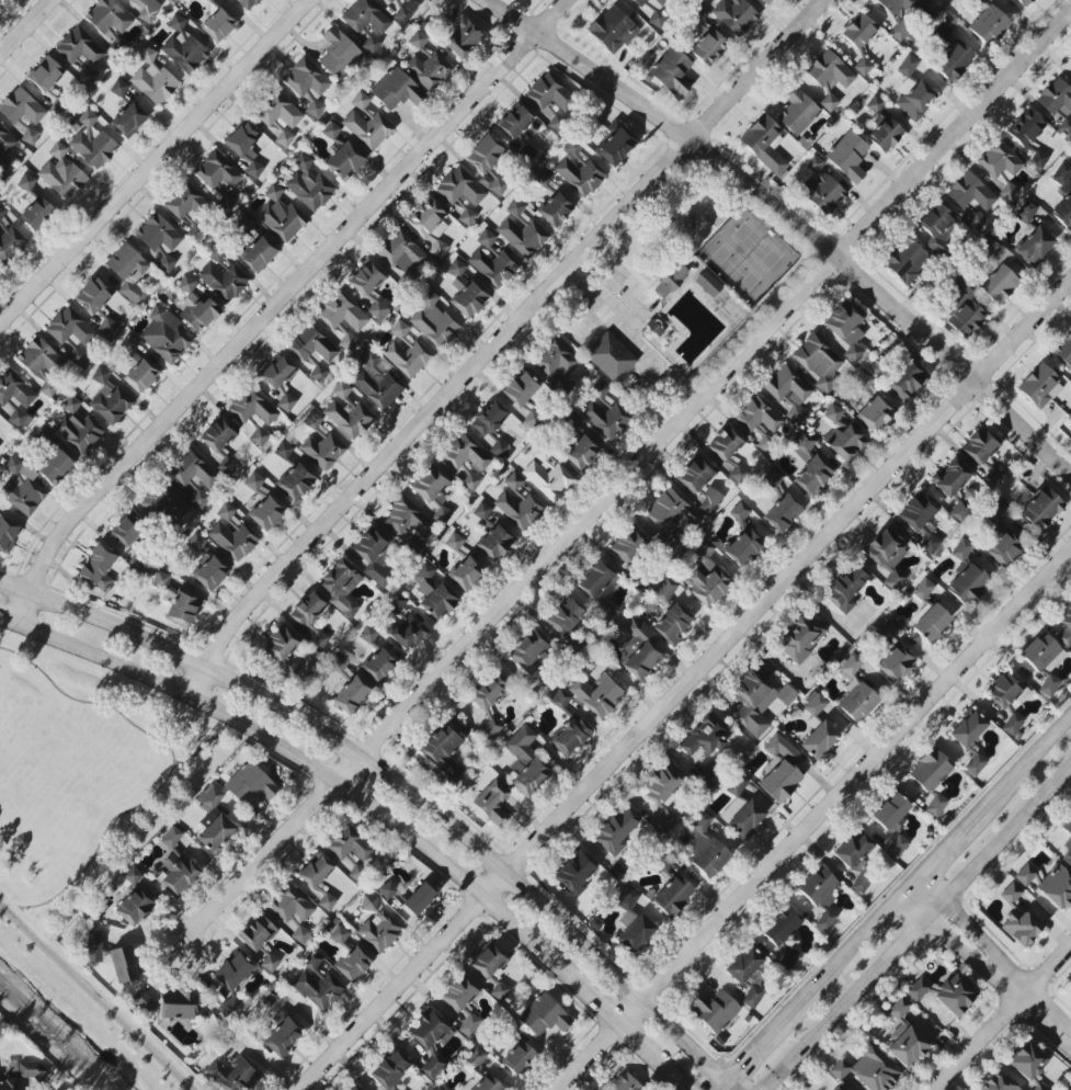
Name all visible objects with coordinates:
building: (0, 0)
building: (208, 0)
building: (409, 0)
building: (980, 0)
building: (389, 1)
building: (931, 1)
building: (766, 2)
building: (1023, 2)
building: (247, 3)
building: (650, 7)
building: (146, 8)
building: (401, 13)
building: (734, 15)
building: (899, 15)
building: (107, 16)
building: (365, 18)
building: (218, 24)
building: (989, 25)
road: (29, 30)
building: (613, 30)
building: (858, 31)
building: (462, 37)
building: (418, 39)
building: (969, 43)
building: (371, 44)
building: (79, 47)
building: (182, 47)
building: (708, 47)
building: (339, 54)
building: (954, 61)
building: (907, 66)
building: (863, 67)
building: (429, 70)
building: (672, 72)
building: (45, 75)
building: (88, 76)
building: (830, 77)
building: (152, 79)
building: (1070, 80)
building: (308, 86)
building: (118, 89)
building: (396, 90)
building: (548, 93)
building: (1055, 98)
building: (913, 99)
building: (361, 101)
building: (875, 105)
building: (21, 107)
building: (797, 111)
building: (280, 117)
building: (129, 121)
building: (514, 122)
building: (1025, 127)
building: (1066, 127)
building: (367, 129)
building: (331, 130)
building: (885, 134)
building: (29, 135)
building: (91, 140)
building: (765, 145)
building: (616, 146)
building: (5, 147)
building: (246, 148)
building: (572, 148)
building: (525, 152)
building: (848, 157)
building: (1038, 159)
building: (999, 160)
building: (344, 161)
road: (157, 164)
building: (487, 164)
building: (813, 168)
building: (61, 173)
building: (217, 174)
building: (1061, 174)
building: (580, 175)
building: (543, 178)
building: (26, 182)
building: (308, 185)
building: (460, 189)
building: (969, 192)
building: (1009, 192)
building: (822, 194)
building: (182, 201)
building: (514, 208)
building: (555, 209)
building: (1025, 212)
building: (1063, 212)
building: (2, 213)
building: (37, 214)
building: (280, 216)
building: (467, 217)
road: (798, 220)
building: (243, 224)
building: (430, 225)
building: (937, 226)
building: (194, 234)
building: (522, 237)
building: (159, 238)
building: (486, 239)
building: (9, 242)
building: (1035, 246)
building: (400, 252)
building: (258, 256)
building: (907, 261)
building: (493, 268)
building: (128, 272)
building: (457, 274)
building: (998, 274)
building: (365, 280)
building: (223, 281)
building: (671, 281)
building: (187, 283)
building: (708, 284)
building: (94, 294)
building: (469, 300)
road: (280, 303)
building: (966, 314)
building: (200, 315)
building: (343, 319)
building: (432, 320)
building: (106, 327)
building: (69, 329)
building: (399, 329)
building: (846, 330)
building: (164, 336)
road: (636, 336)
road: (500, 342)
building: (128, 344)
building: (1064, 351)
building: (315, 352)
building: (38, 357)
building: (78, 357)
building: (407, 357)
building: (611, 357)
building: (819, 360)
building: (556, 361)
building: (140, 376)
building: (280, 381)
building: (375, 381)
building: (907, 381)
building: (863, 382)
building: (1039, 386)
building: (48, 388)
building: (520, 389)
building: (14, 390)
building: (599, 390)
building: (789, 391)
building: (109, 398)
building: (252, 407)
building: (347, 412)
building: (833, 413)
building: (875, 413)
building: (759, 416)
building: (19, 419)
building: (490, 419)
building: (312, 420)
building: (603, 420)
building: (76, 427)
building: (44, 435)
building: (259, 436)
building: (1070, 439)
building: (764, 443)
building: (845, 443)
building: (722, 446)
building: (802, 446)
building: (980, 446)
building: (499, 447)
building: (583, 449)
building: (283, 450)
building: (321, 452)
building: (465, 453)
building: (55, 467)
road: (634, 470)
building: (695, 475)
building: (812, 475)
building: (195, 477)
building: (950, 477)
building: (547, 478)
building: (469, 480)
building: (253, 481)
building: (296, 482)
building: (430, 484)
building: (22, 488)
building: (163, 502)
building: (519, 502)
building: (709, 502)
building: (1041, 509)
building: (671, 510)
building: (482, 511)
building: (225, 512)
building: (739, 512)
building: (959, 512)
building: (993, 512)
building: (266, 513)
building: (783, 513)
building: (442, 514)
building: (921, 521)
building: (408, 525)
building: (127, 530)
building: (8, 534)
building: (232, 541)
building: (197, 542)
building: (454, 542)
building: (495, 543)
building: (629, 544)
building: (671, 545)
building: (743, 547)
building: (1004, 547)
building: (704, 549)
building: (960, 549)
building: (888, 554)
building: (373, 558)
building: (138, 563)
building: (98, 568)
building: (466, 572)
building: (209, 574)
building: (161, 579)
building: (967, 583)
building: (709, 586)
building: (341, 587)
building: (597, 588)
building: (845, 589)
building: (923, 589)
building: (664, 590)
building: (433, 592)
building: (396, 603)
building: (183, 608)
building: (565, 617)
building: (310, 618)
building: (930, 622)
building: (672, 624)
building: (1066, 626)
building: (886, 628)
building: (408, 633)
building: (368, 634)
building: (800, 638)
building: (281, 643)
building: (639, 648)
building: (528, 657)
building: (1044, 661)
building: (338, 662)
building: (895, 663)
building: (379, 665)
road: (687, 686)
building: (855, 691)
building: (489, 692)
building: (1006, 692)
building: (597, 694)
building: (351, 695)
building: (560, 700)
building: (756, 701)
building: (814, 704)
building: (1012, 724)
building: (490, 728)
building: (967, 728)
building: (570, 737)
building: (704, 737)
building: (819, 741)
building: (442, 752)
building: (525, 762)
road: (312, 764)
building: (975, 764)
road: (1021, 768)
building: (782, 769)
building: (930, 770)
building: (707, 777)
park: (83, 779)
road: (395, 779)
building: (250, 784)
building: (736, 785)
road: (847, 786)
building: (662, 794)
building: (208, 797)
building: (492, 803)
building: (935, 805)
building: (891, 813)
building: (747, 819)
building: (618, 829)
building: (215, 832)
building: (171, 838)
building: (1067, 843)
building: (349, 844)
building: (704, 847)
building: (897, 847)
building: (852, 849)
road: (939, 852)
building: (315, 872)
building: (576, 872)
building: (132, 875)
building: (1025, 875)
building: (175, 876)
building: (861, 883)
building: (388, 890)
building: (1010, 894)
building: (672, 896)
building: (820, 896)
building: (418, 899)
building: (628, 899)
building: (368, 902)
building: (290, 905)
building: (134, 909)
road: (911, 923)
building: (781, 927)
building: (1021, 927)
building: (379, 931)
building: (337, 932)
building: (257, 933)
building: (635, 933)
building: (300, 934)
building: (94, 939)
road: (850, 947)
building: (788, 958)
road: (990, 961)
building: (270, 963)
building: (124, 964)
building: (353, 965)
building: (491, 969)
building: (232, 972)
building: (748, 974)
building: (316, 983)
building: (916, 990)
building: (459, 992)
building: (955, 995)
road: (94, 999)
building: (143, 1001)
road: (602, 1002)
building: (178, 1004)
building: (714, 1011)
building: (544, 1017)
road: (1004, 1019)
building: (468, 1025)
building: (428, 1031)
road: (634, 1034)
building: (283, 1036)
building: (904, 1036)
road: (757, 1044)
road: (591, 1056)
building: (476, 1058)
building: (517, 1059)
building: (1027, 1060)
building: (432, 1067)
road: (666, 1067)
traffic signals: (736, 1067)
building: (390, 1069)
building: (868, 1069)
building: (21, 1074)
building: (231, 1074)
building: (623, 1082)
building: (998, 1082)
road: (719, 1083)
road: (732, 1083)
building: (485, 1085)
building: (1039, 1087)
building: (352, 1088)
traffic signals: (690, 1089)
building: (838, 1089)
building: (1070, 1089)

